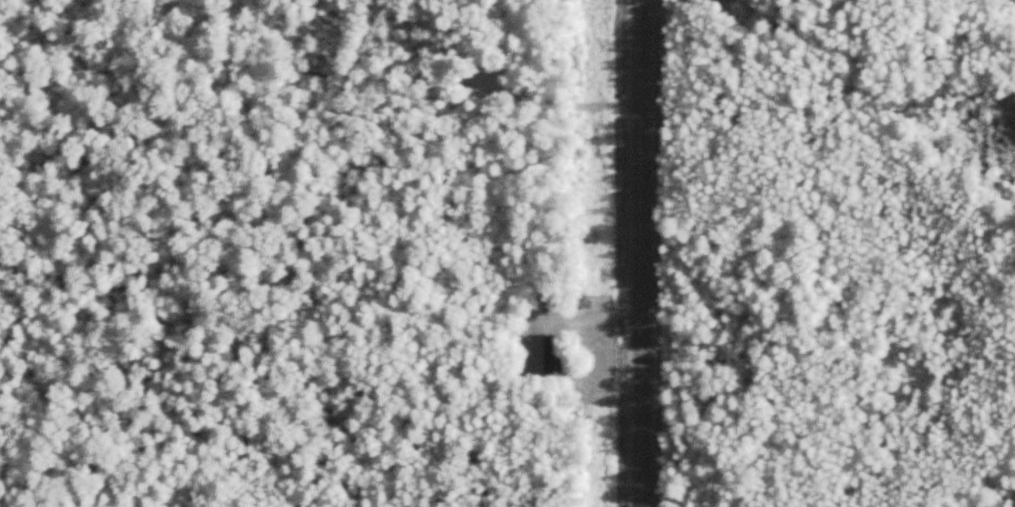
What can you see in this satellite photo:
road: (633, 253)
building: (553, 353)

